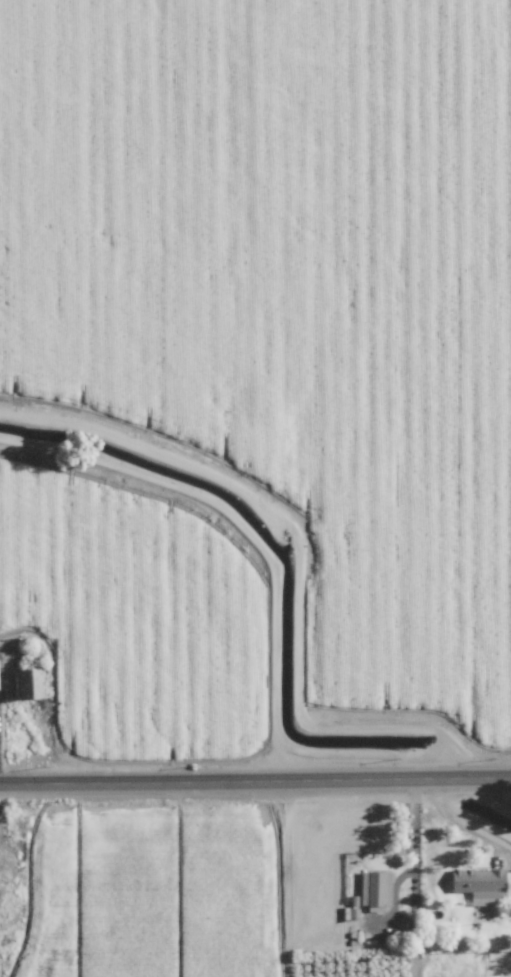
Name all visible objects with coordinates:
crop: (256, 373)
road: (255, 773)
road: (414, 846)
building: (473, 882)
building: (372, 895)

